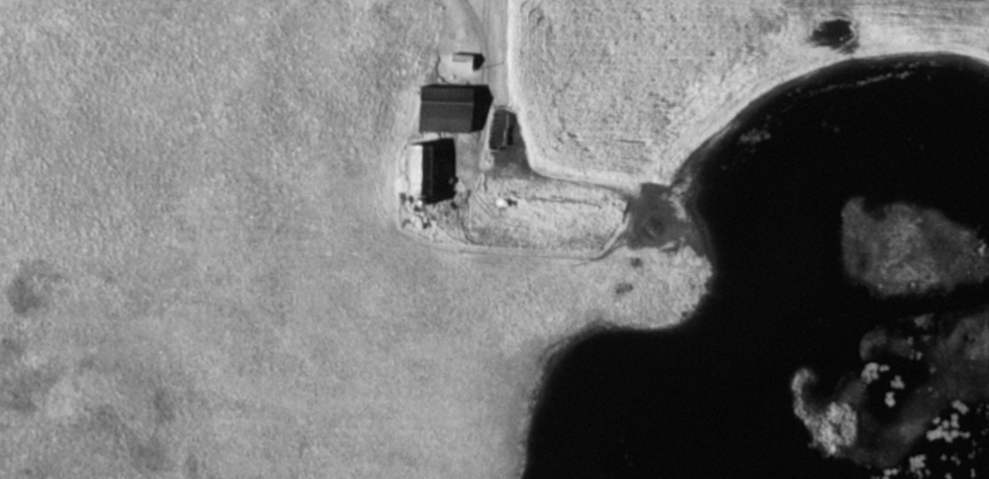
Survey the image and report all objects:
building: (458, 61)
building: (442, 109)
building: (415, 169)

